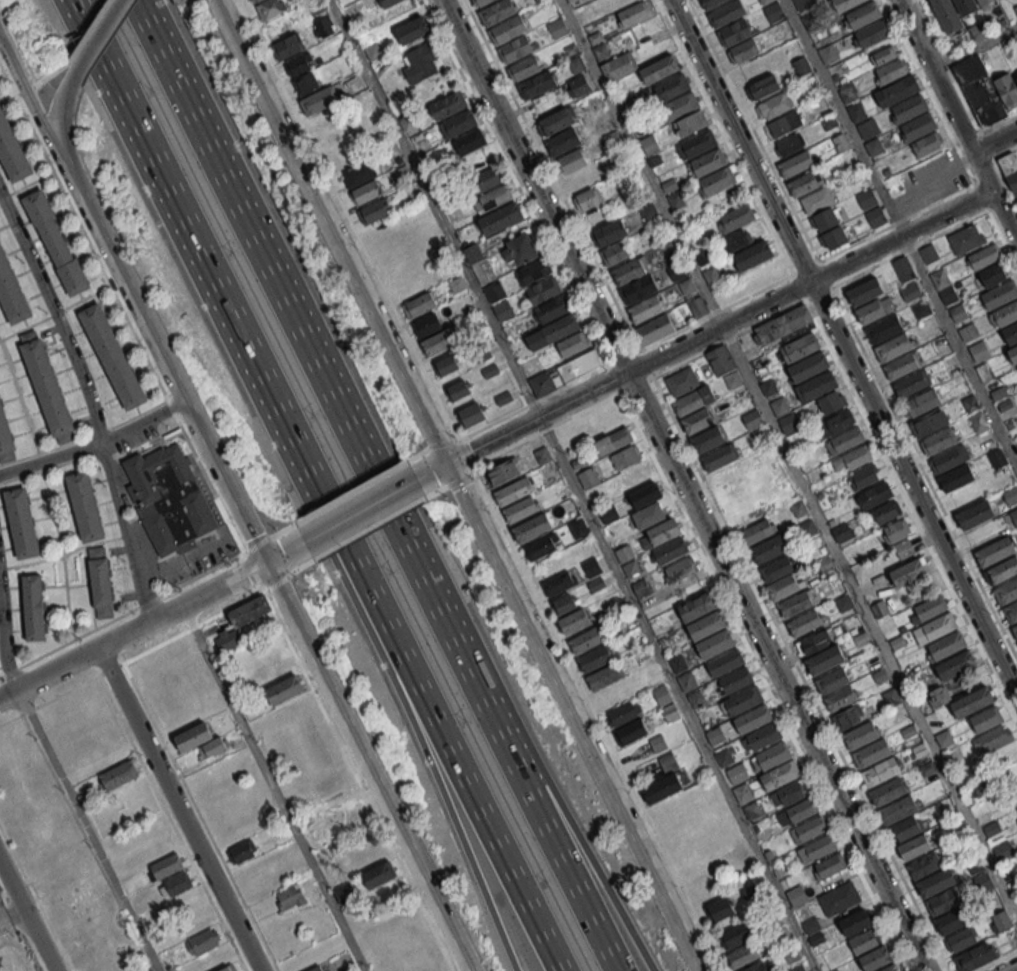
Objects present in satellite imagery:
building: (999, 0)
building: (255, 1)
building: (390, 2)
building: (482, 2)
building: (986, 2)
building: (709, 3)
building: (803, 3)
building: (846, 4)
building: (967, 6)
building: (270, 8)
building: (498, 12)
building: (635, 13)
building: (727, 14)
building: (865, 15)
building: (948, 15)
building: (324, 27)
building: (557, 28)
building: (414, 29)
building: (509, 29)
building: (735, 33)
building: (874, 33)
road: (97, 40)
building: (288, 46)
road: (975, 47)
building: (514, 48)
building: (743, 50)
building: (601, 51)
building: (883, 55)
building: (422, 63)
building: (299, 65)
building: (618, 66)
road: (948, 67)
building: (524, 68)
building: (662, 69)
building: (891, 71)
building: (1016, 79)
building: (306, 84)
road: (24, 85)
building: (536, 85)
building: (579, 86)
building: (763, 87)
building: (673, 88)
building: (985, 90)
building: (898, 91)
road: (929, 92)
building: (318, 101)
building: (450, 105)
building: (774, 106)
building: (682, 107)
building: (910, 108)
road: (60, 109)
road: (844, 118)
road: (958, 119)
building: (556, 121)
building: (460, 124)
building: (691, 124)
building: (783, 124)
building: (919, 127)
building: (868, 128)
road: (754, 130)
road: (986, 131)
road: (725, 137)
building: (469, 141)
building: (562, 142)
road: (996, 142)
building: (649, 144)
building: (700, 144)
building: (789, 144)
building: (12, 151)
building: (571, 161)
road: (641, 162)
building: (710, 163)
building: (797, 164)
road: (1000, 170)
building: (1010, 170)
building: (359, 174)
building: (485, 179)
building: (719, 181)
building: (805, 183)
road: (26, 185)
road: (559, 187)
road: (168, 192)
building: (366, 192)
road: (524, 196)
building: (588, 198)
building: (492, 199)
building: (819, 200)
building: (871, 207)
road: (436, 209)
building: (374, 210)
road: (910, 217)
building: (500, 218)
building: (738, 218)
building: (825, 219)
building: (610, 232)
road: (356, 234)
road: (939, 234)
road: (1016, 236)
building: (834, 238)
building: (965, 240)
building: (56, 241)
building: (736, 241)
building: (518, 250)
building: (473, 253)
building: (615, 253)
building: (755, 256)
building: (983, 256)
road: (820, 261)
building: (532, 272)
building: (993, 275)
building: (639, 289)
building: (864, 291)
building: (12, 292)
road: (819, 294)
building: (498, 300)
building: (419, 304)
road: (729, 305)
building: (647, 308)
building: (700, 308)
road: (121, 310)
building: (874, 310)
road: (58, 313)
road: (291, 314)
building: (1006, 314)
building: (426, 325)
building: (782, 325)
building: (655, 330)
building: (884, 330)
building: (554, 332)
building: (1011, 334)
road: (698, 338)
building: (439, 342)
building: (574, 344)
road: (845, 347)
building: (800, 348)
building: (893, 349)
road: (158, 351)
road: (960, 351)
building: (1014, 354)
building: (112, 355)
road: (624, 357)
building: (720, 360)
building: (448, 366)
building: (579, 366)
building: (810, 366)
building: (903, 366)
building: (681, 381)
building: (542, 384)
building: (821, 385)
building: (912, 385)
building: (46, 386)
building: (460, 391)
road: (533, 401)
building: (695, 401)
building: (832, 402)
building: (925, 403)
building: (473, 415)
road: (143, 421)
building: (697, 421)
building: (839, 421)
building: (930, 424)
building: (6, 437)
building: (708, 439)
building: (613, 441)
building: (846, 441)
building: (939, 442)
road: (442, 444)
road: (414, 455)
building: (719, 456)
building: (626, 457)
building: (853, 458)
building: (953, 458)
building: (997, 458)
road: (51, 459)
traffic signals: (446, 467)
building: (503, 471)
road: (925, 472)
building: (864, 476)
building: (633, 477)
building: (958, 478)
road: (460, 479)
road: (686, 485)
road: (456, 488)
building: (515, 491)
road: (347, 492)
road: (433, 493)
building: (1011, 494)
building: (648, 495)
building: (874, 495)
building: (169, 499)
building: (84, 506)
building: (524, 509)
building: (886, 512)
road: (911, 513)
building: (611, 515)
building: (977, 515)
road: (354, 517)
building: (21, 522)
building: (534, 528)
road: (280, 529)
road: (367, 530)
road: (127, 531)
building: (666, 531)
building: (894, 531)
building: (842, 532)
building: (758, 533)
road: (254, 545)
building: (544, 547)
building: (771, 549)
building: (904, 549)
building: (673, 551)
road: (515, 552)
building: (996, 552)
building: (624, 553)
traffic signals: (266, 566)
road: (301, 567)
building: (593, 568)
building: (633, 569)
building: (680, 569)
building: (778, 569)
building: (1004, 571)
building: (908, 572)
building: (100, 582)
building: (562, 583)
road: (259, 585)
building: (784, 588)
building: (1006, 592)
building: (566, 605)
building: (796, 605)
building: (697, 606)
building: (32, 607)
building: (930, 607)
building: (1011, 612)
road: (121, 615)
building: (241, 620)
road: (150, 621)
building: (576, 621)
road: (870, 622)
building: (806, 624)
building: (707, 625)
building: (934, 628)
building: (1014, 630)
road: (5, 640)
building: (588, 641)
building: (814, 642)
building: (716, 644)
building: (945, 645)
road: (131, 657)
building: (596, 659)
building: (826, 661)
building: (680, 663)
building: (726, 663)
building: (955, 665)
road: (801, 673)
road: (391, 677)
building: (605, 677)
road: (411, 678)
building: (737, 681)
road: (764, 681)
building: (833, 681)
building: (688, 682)
building: (283, 689)
road: (678, 694)
building: (939, 696)
building: (840, 698)
building: (697, 700)
building: (743, 701)
building: (972, 702)
building: (623, 713)
building: (672, 713)
building: (848, 717)
building: (986, 718)
building: (754, 720)
building: (631, 732)
building: (864, 735)
building: (193, 736)
building: (763, 738)
building: (660, 744)
building: (872, 754)
building: (773, 757)
building: (670, 763)
road: (367, 768)
building: (882, 773)
building: (119, 774)
building: (782, 776)
road: (358, 779)
road: (273, 787)
building: (665, 789)
building: (889, 793)
road: (555, 796)
building: (1012, 799)
road: (532, 800)
road: (182, 808)
building: (804, 811)
building: (898, 811)
road: (199, 816)
building: (351, 820)
building: (814, 829)
road: (87, 830)
building: (906, 830)
building: (916, 848)
building: (818, 850)
building: (243, 851)
building: (166, 865)
building: (375, 865)
building: (937, 884)
building: (175, 885)
building: (343, 892)
building: (796, 895)
building: (289, 897)
building: (841, 900)
building: (944, 903)
building: (721, 911)
road: (29, 913)
building: (955, 921)
building: (857, 924)
building: (736, 936)
building: (961, 939)
building: (202, 941)
building: (864, 943)
building: (974, 956)
building: (744, 957)
building: (878, 960)
road: (995, 960)
building: (101, 966)
building: (759, 967)
building: (228, 968)
building: (315, 969)
building: (893, 969)
road: (1014, 969)

